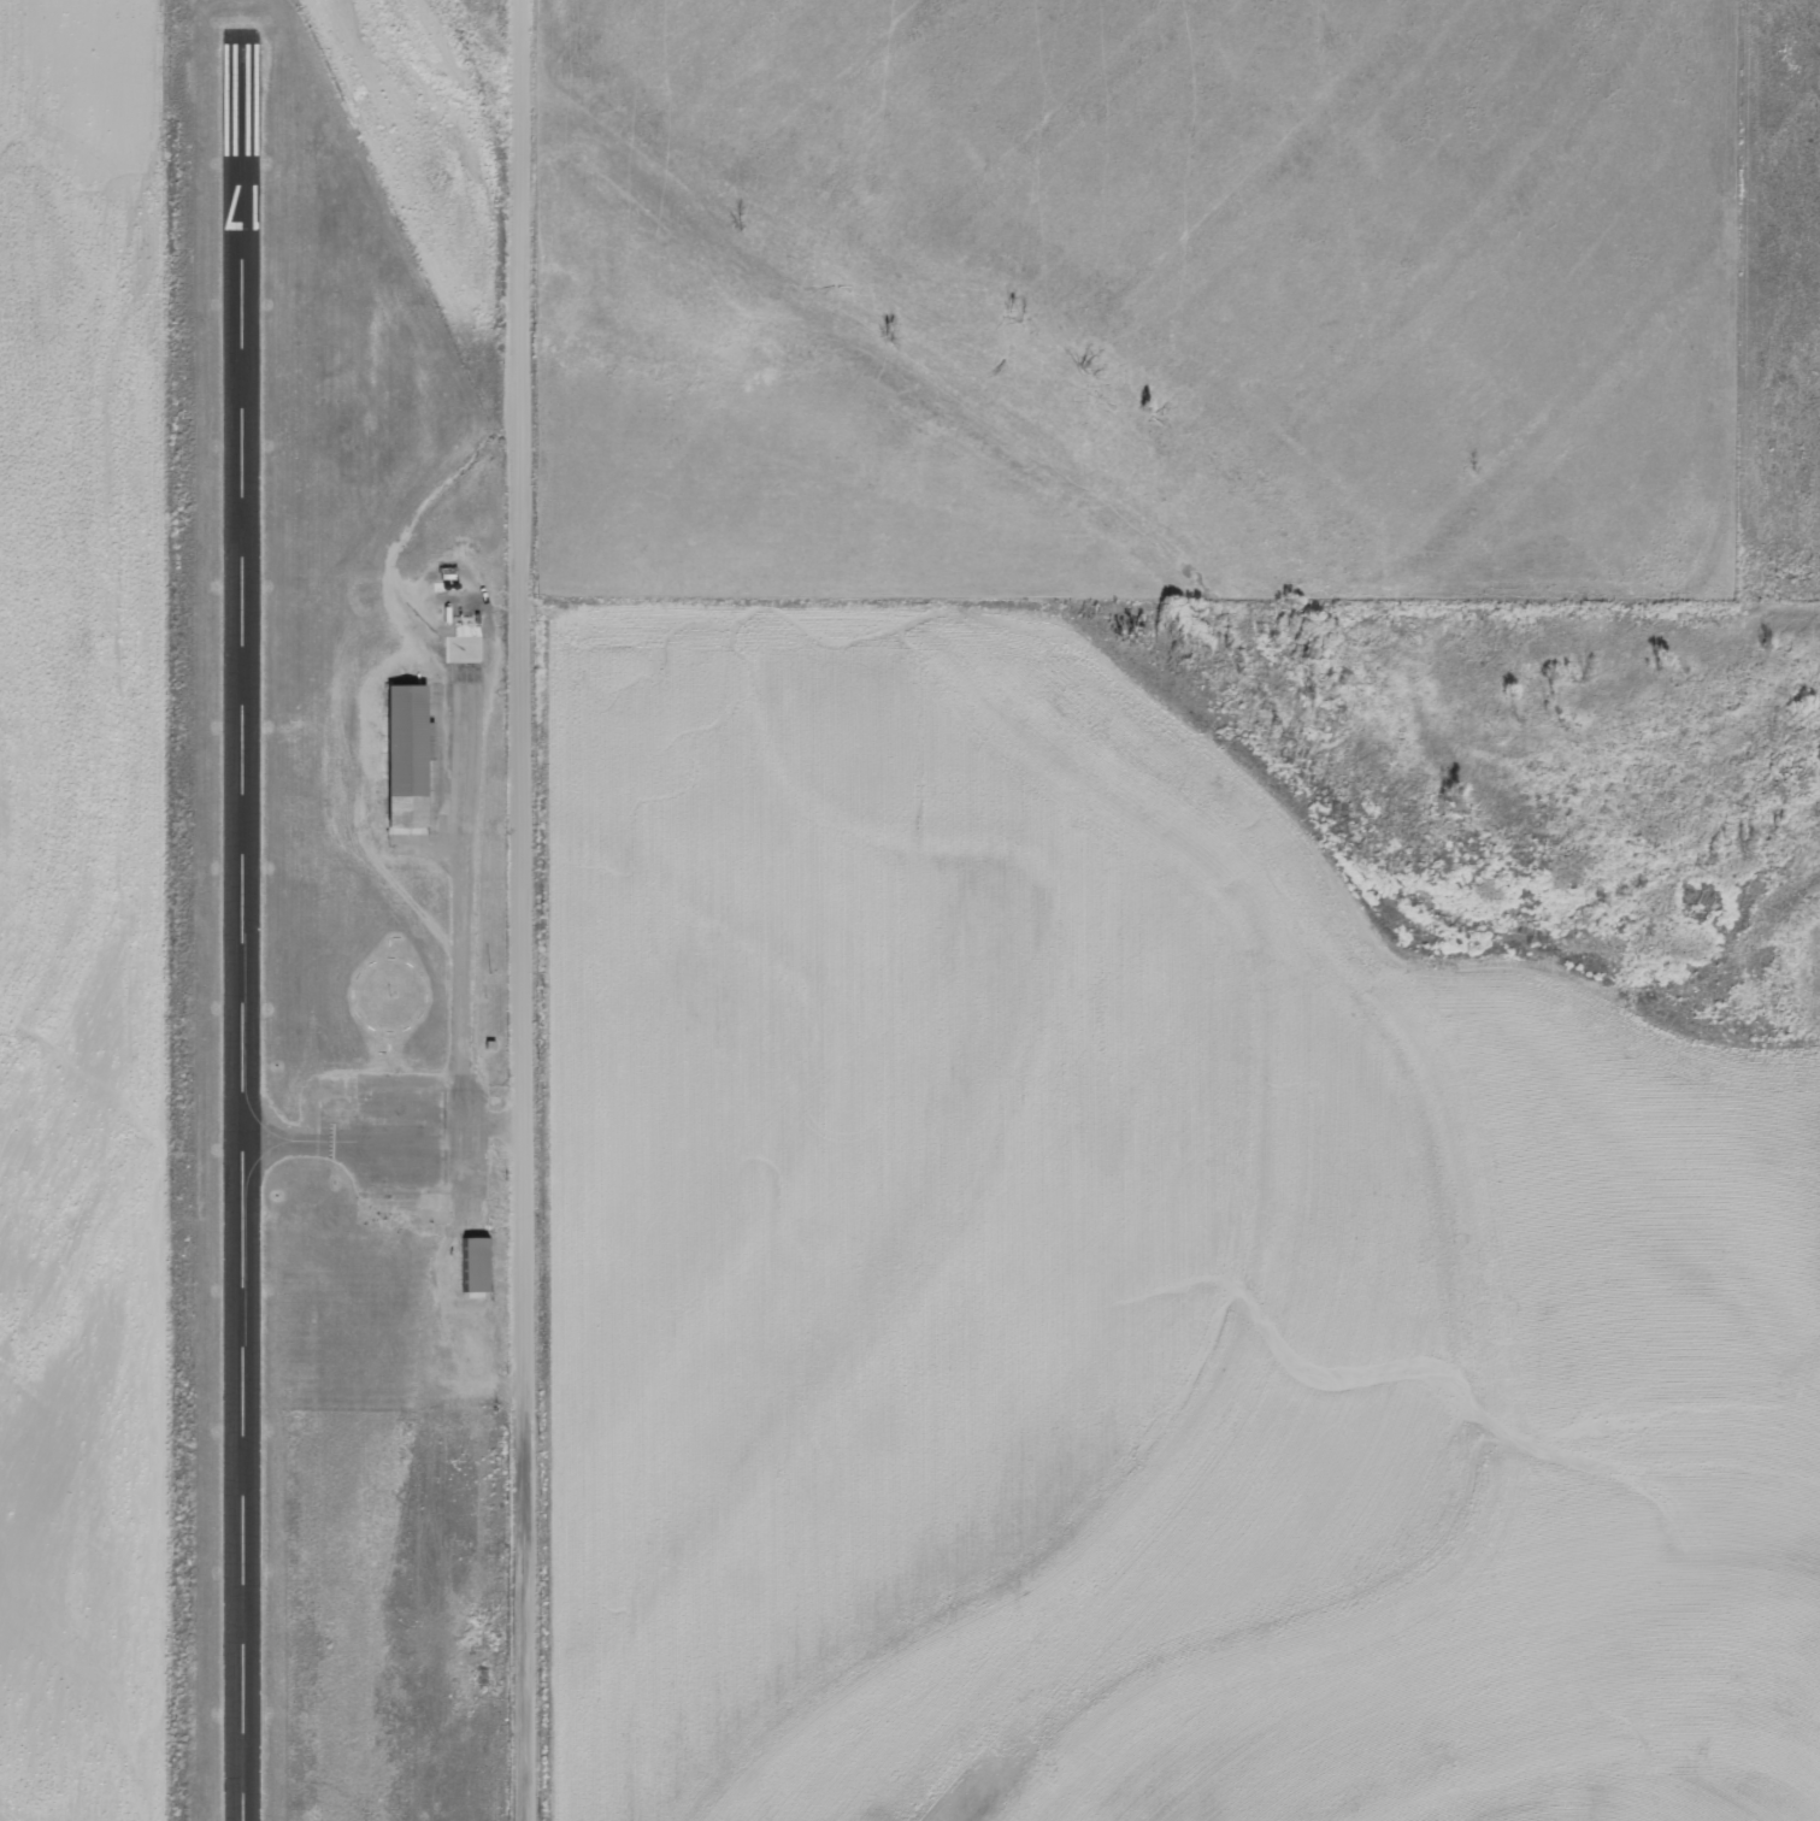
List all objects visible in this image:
building: (408, 759)
road: (522, 909)
airport runway: (249, 943)
building: (470, 1265)

